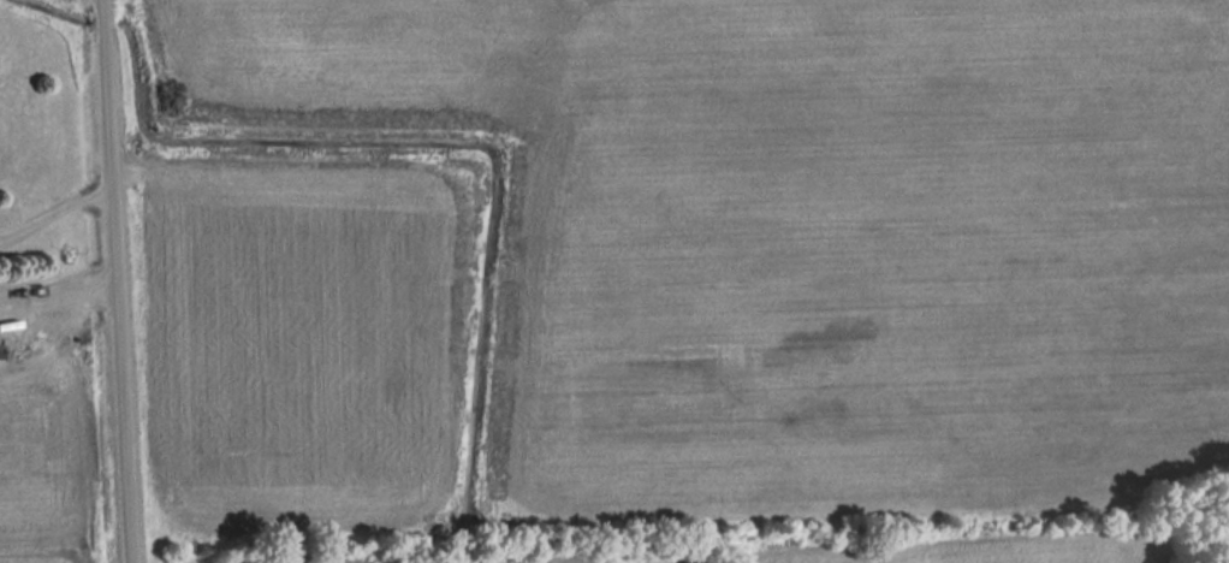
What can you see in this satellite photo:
road: (119, 281)

